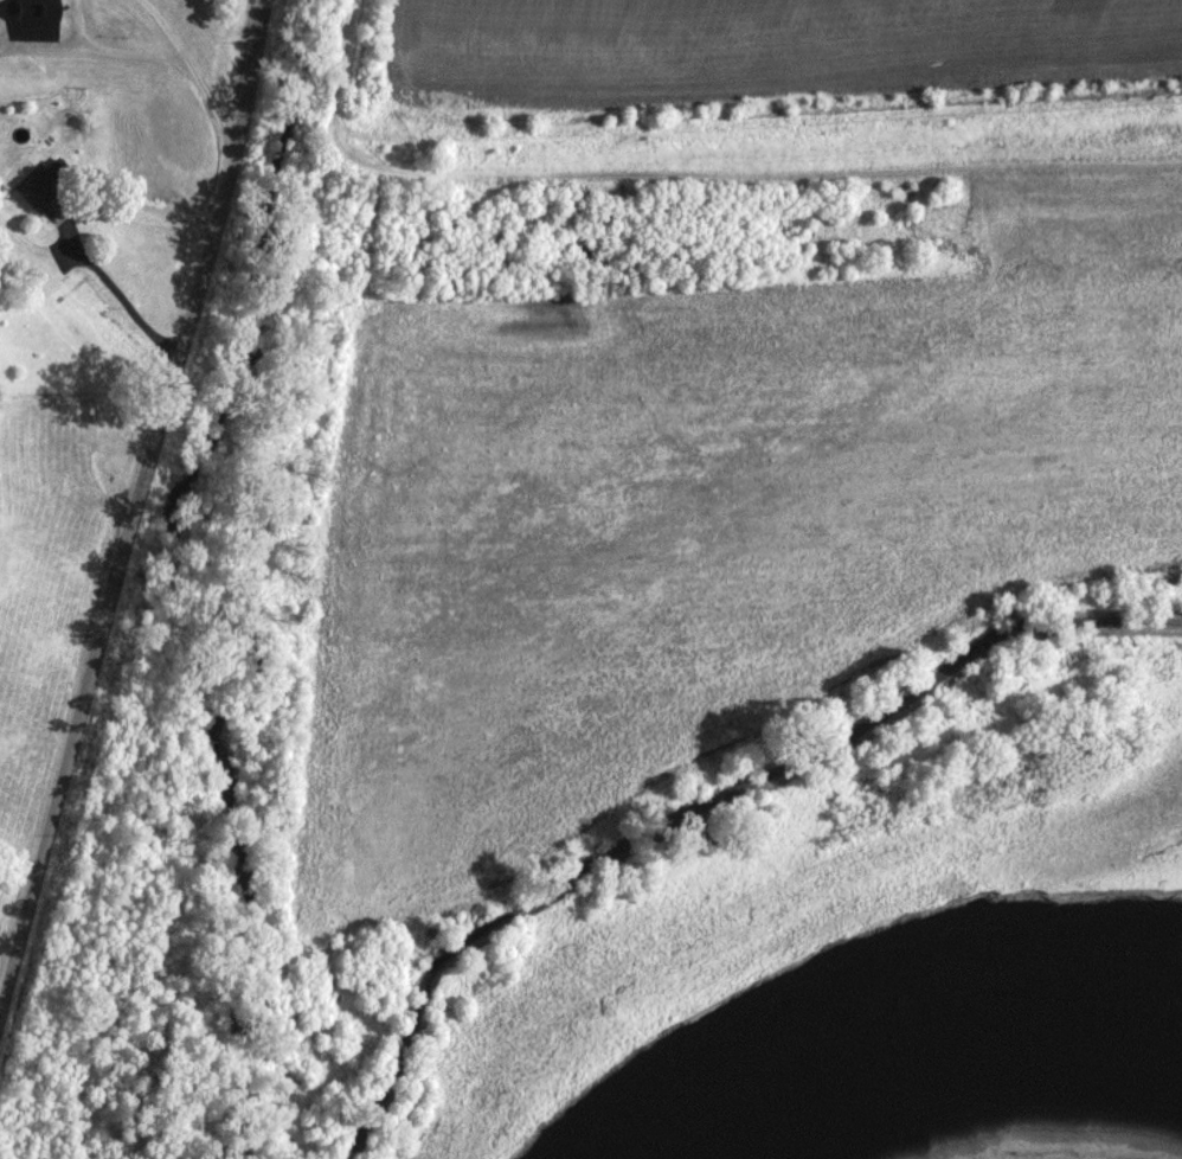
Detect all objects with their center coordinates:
road: (191, 70)
road: (102, 273)
road: (640, 274)
road: (140, 505)
river: (1039, 1152)

